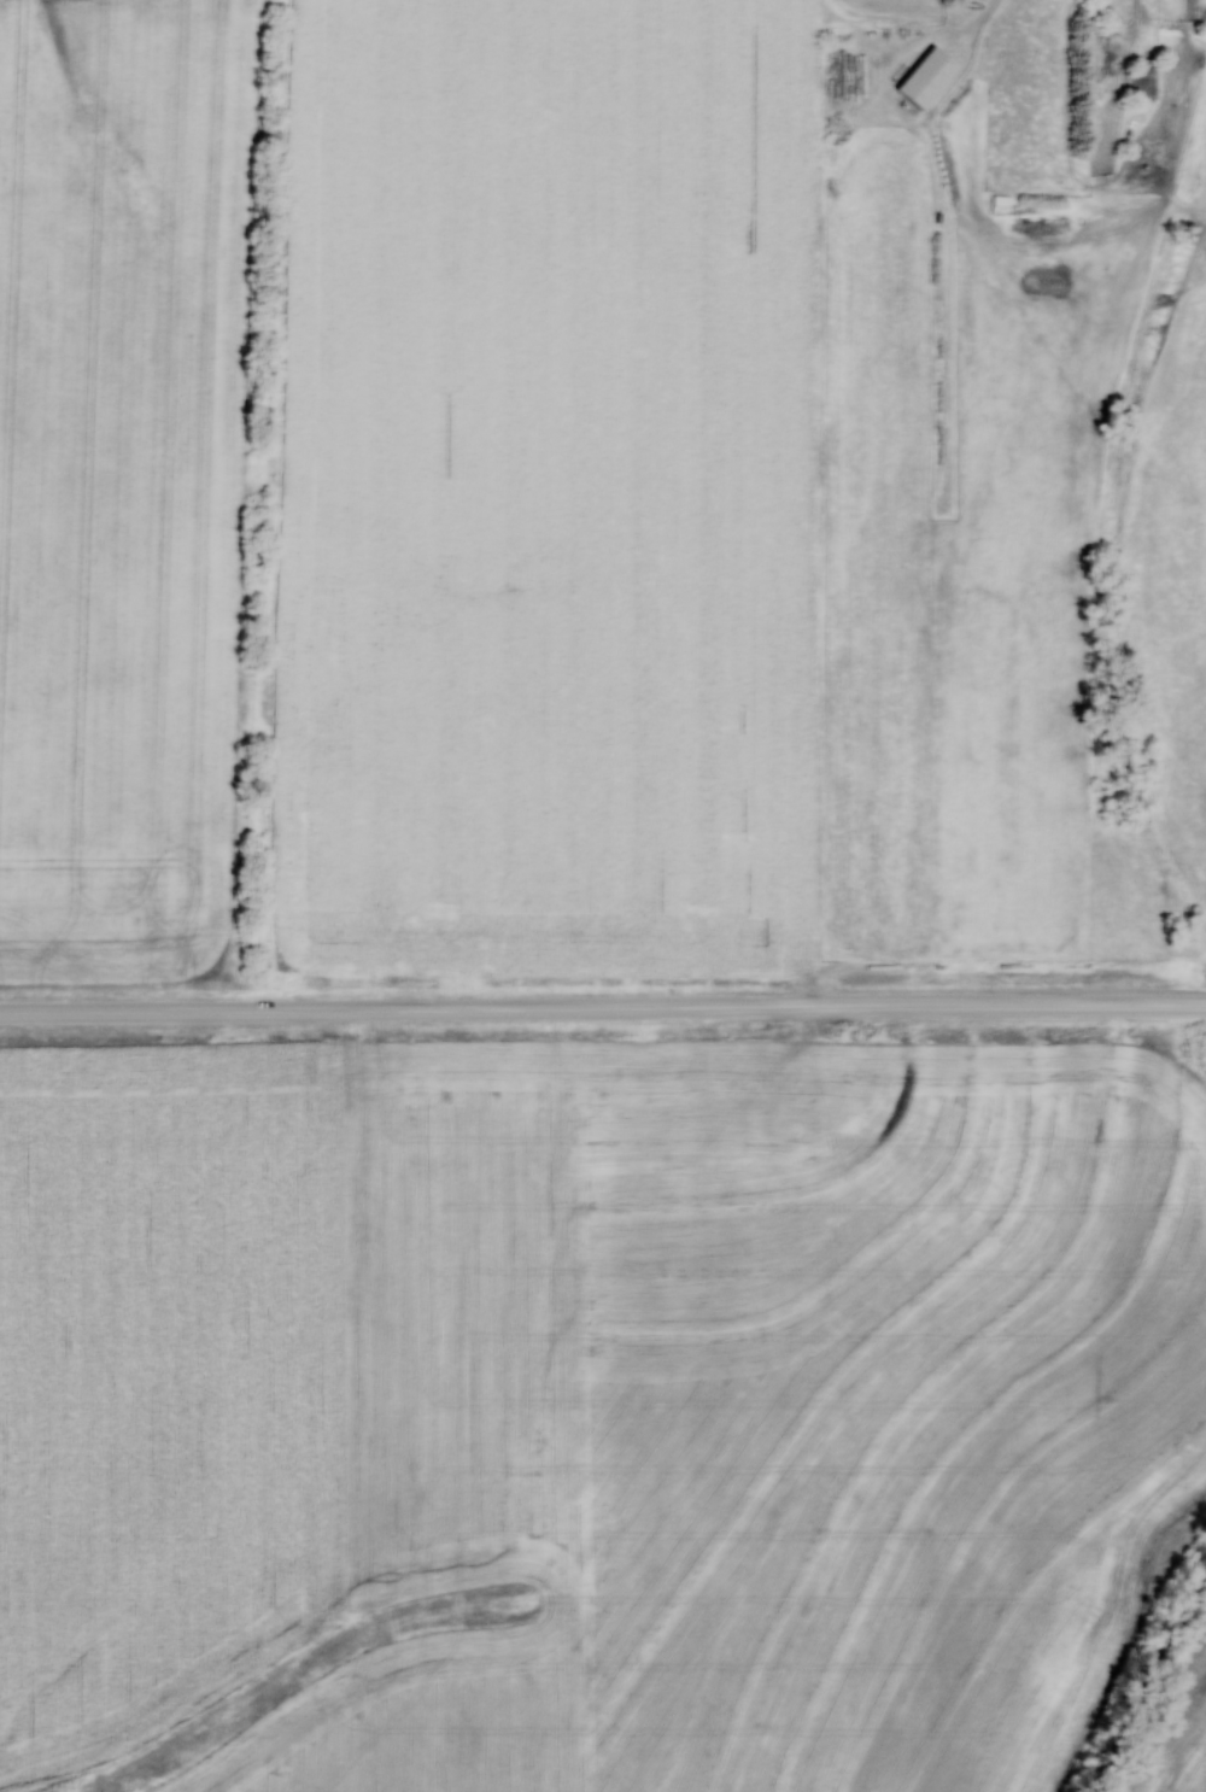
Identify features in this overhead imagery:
building: (930, 77)
road: (603, 1007)

